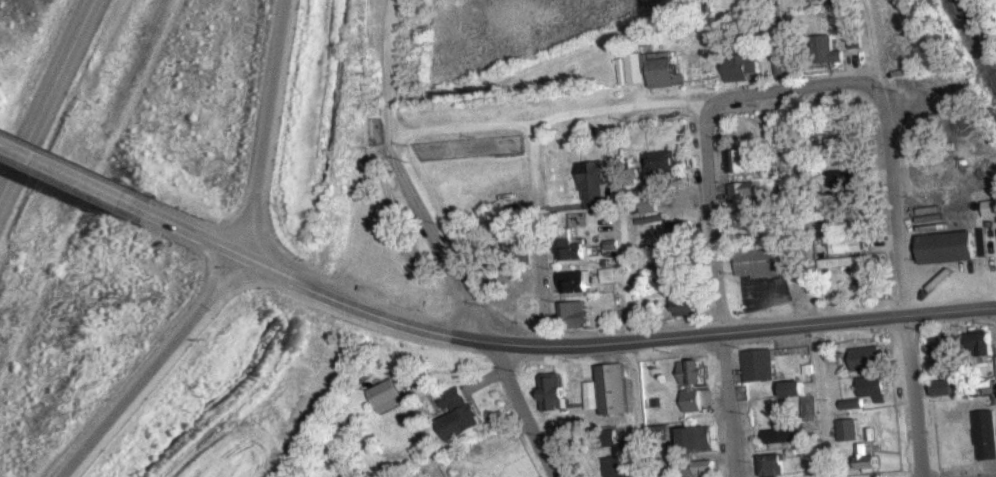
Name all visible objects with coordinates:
railway: (979, 35)
building: (857, 39)
road: (879, 44)
building: (830, 50)
building: (739, 66)
building: (653, 69)
road: (378, 73)
road: (795, 92)
road: (48, 101)
road: (544, 121)
road: (263, 127)
building: (744, 161)
building: (662, 162)
road: (56, 170)
building: (843, 181)
building: (594, 185)
building: (744, 193)
building: (649, 204)
building: (990, 208)
building: (852, 219)
building: (683, 233)
road: (536, 235)
road: (196, 236)
road: (256, 236)
building: (612, 240)
building: (518, 244)
building: (845, 245)
building: (952, 247)
building: (570, 249)
building: (770, 261)
building: (844, 262)
building: (687, 265)
building: (643, 274)
building: (610, 275)
road: (210, 277)
road: (235, 277)
building: (577, 282)
road: (902, 283)
road: (810, 284)
road: (299, 287)
road: (718, 291)
road: (627, 296)
building: (686, 300)
road: (470, 310)
building: (574, 312)
road: (654, 337)
building: (983, 343)
building: (946, 352)
building: (870, 358)
building: (762, 366)
building: (695, 386)
building: (875, 388)
building: (945, 388)
building: (615, 389)
road: (129, 391)
building: (553, 392)
building: (387, 396)
building: (805, 402)
building: (460, 416)
building: (850, 430)
building: (987, 434)
building: (785, 435)
building: (696, 439)
building: (582, 441)
building: (870, 459)
building: (621, 466)
building: (775, 466)
building: (701, 469)

